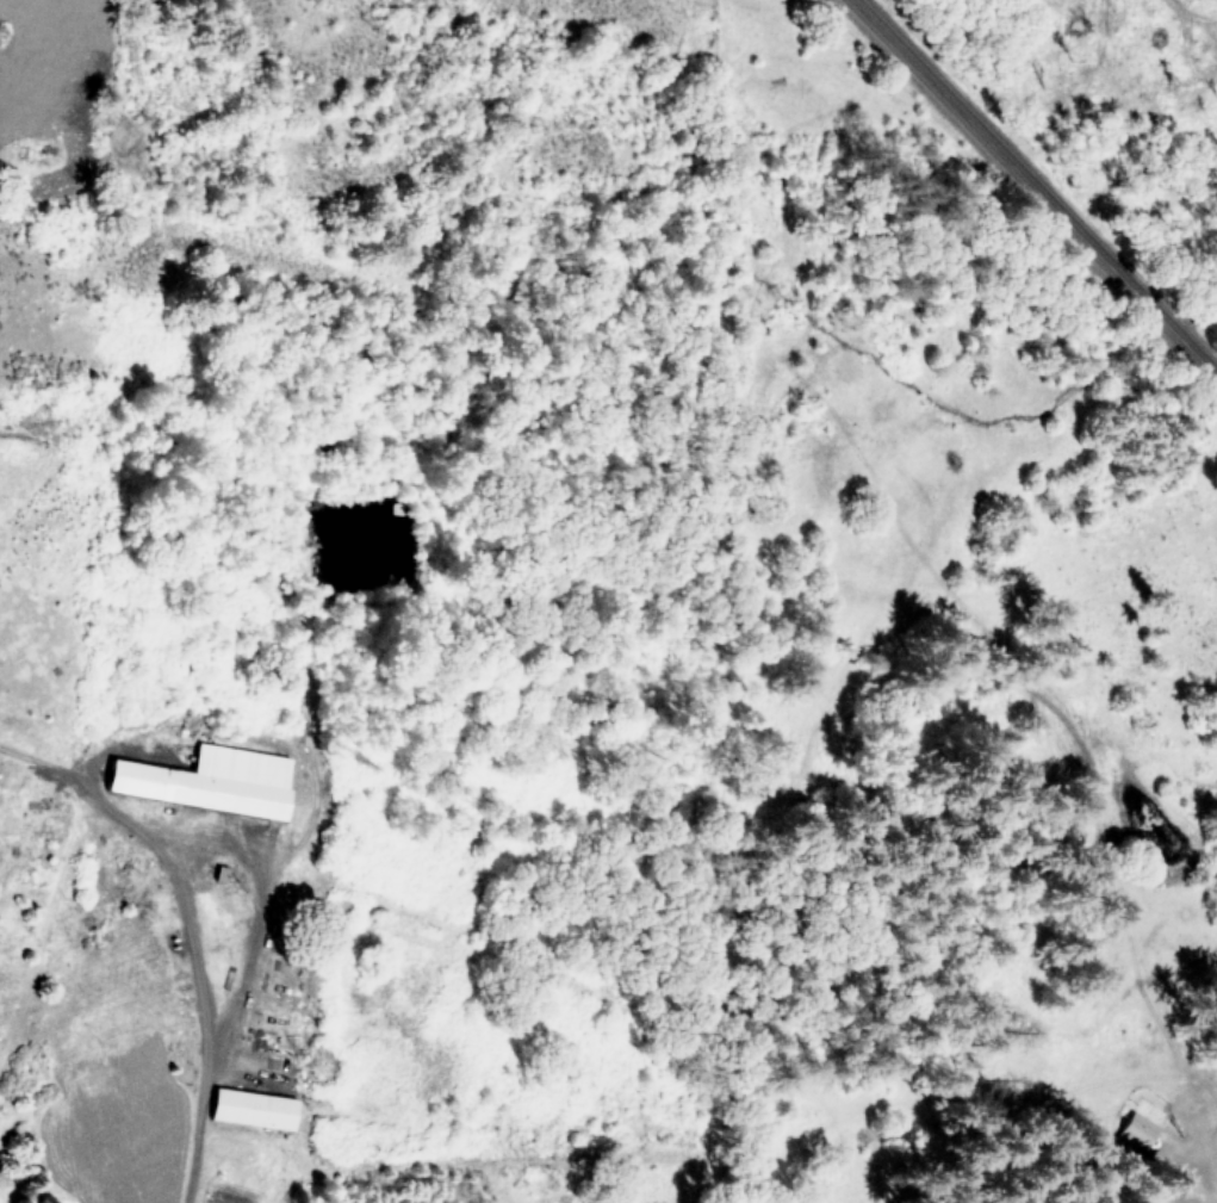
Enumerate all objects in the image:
road: (1024, 197)
crop: (49, 736)
building: (210, 780)
road: (232, 1019)
building: (252, 1109)
building: (1136, 1130)

